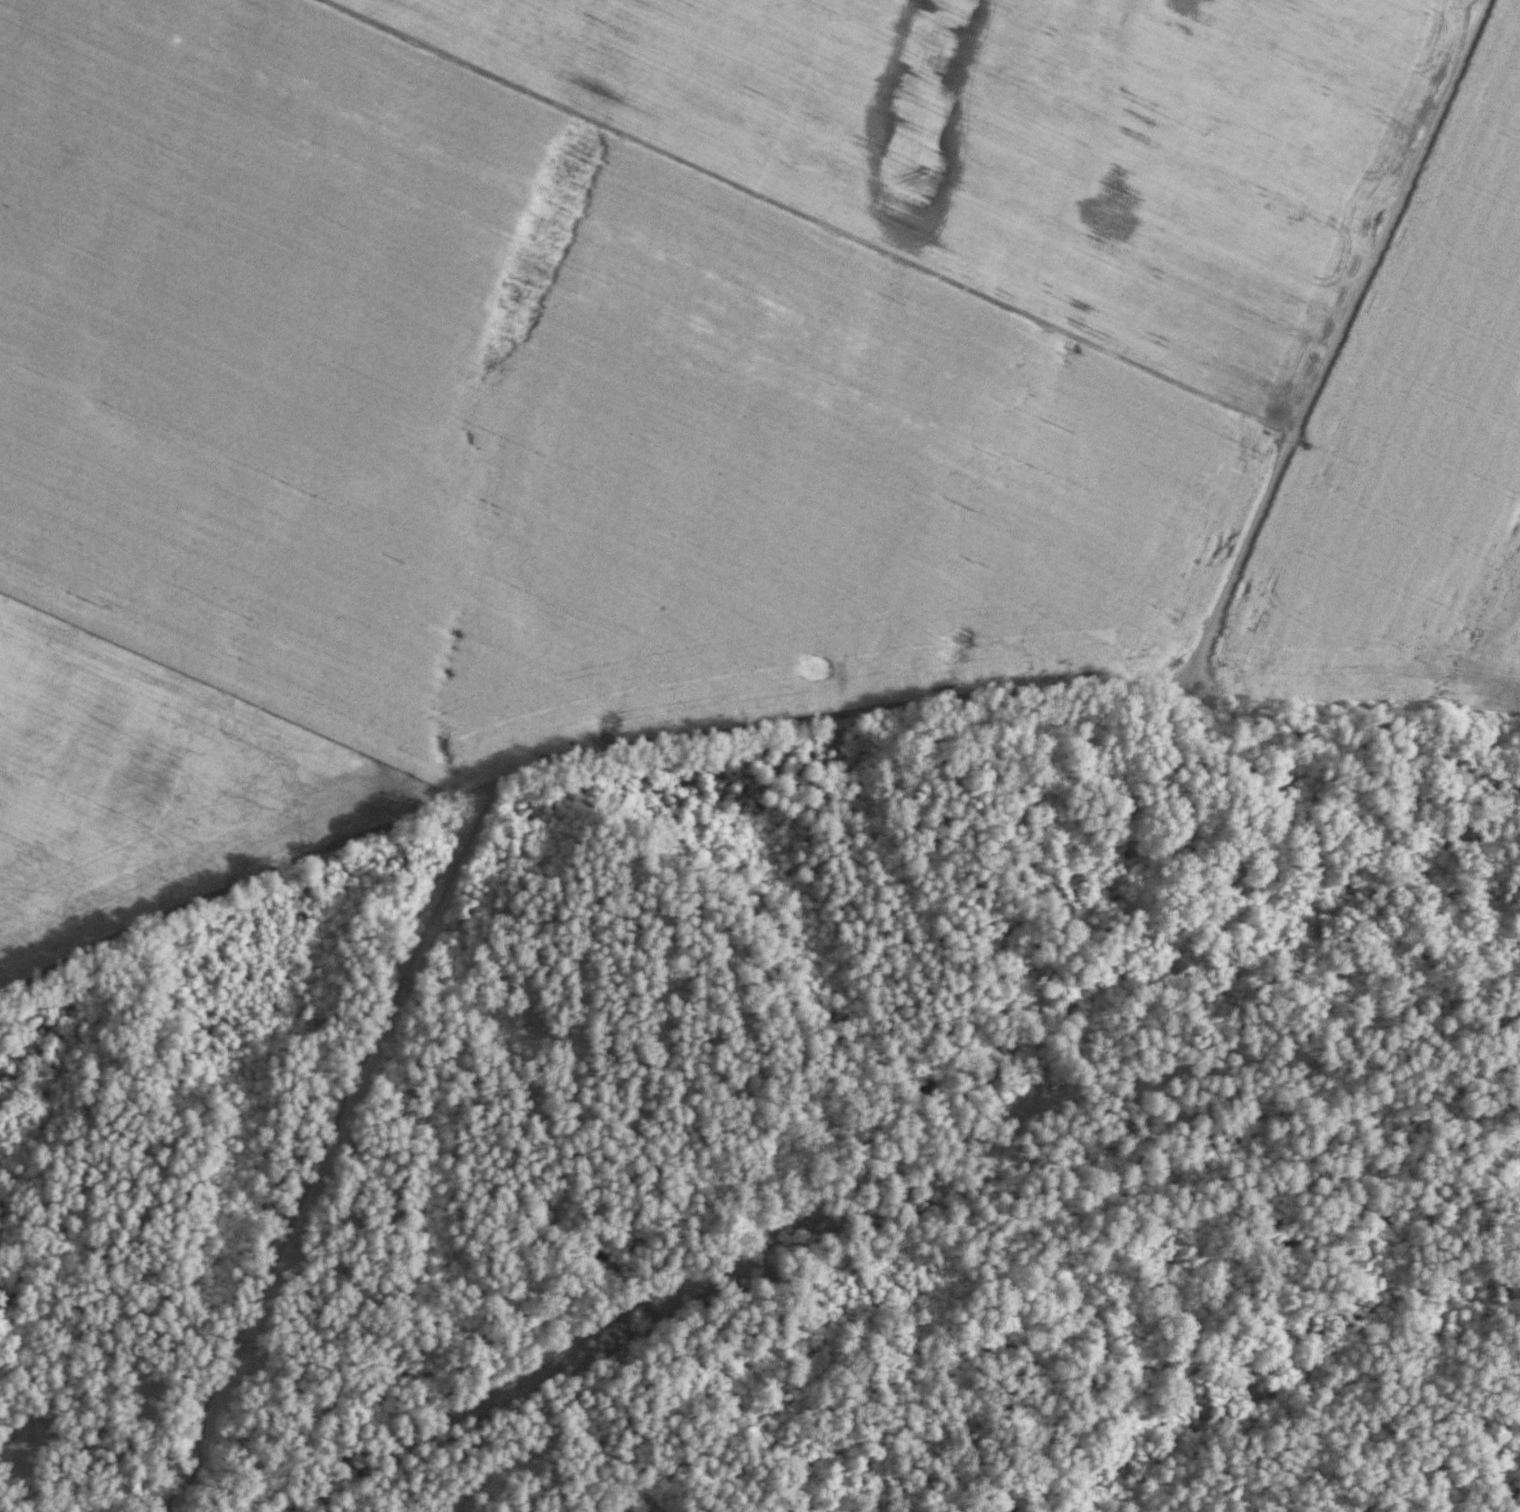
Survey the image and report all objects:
road: (1332, 345)

